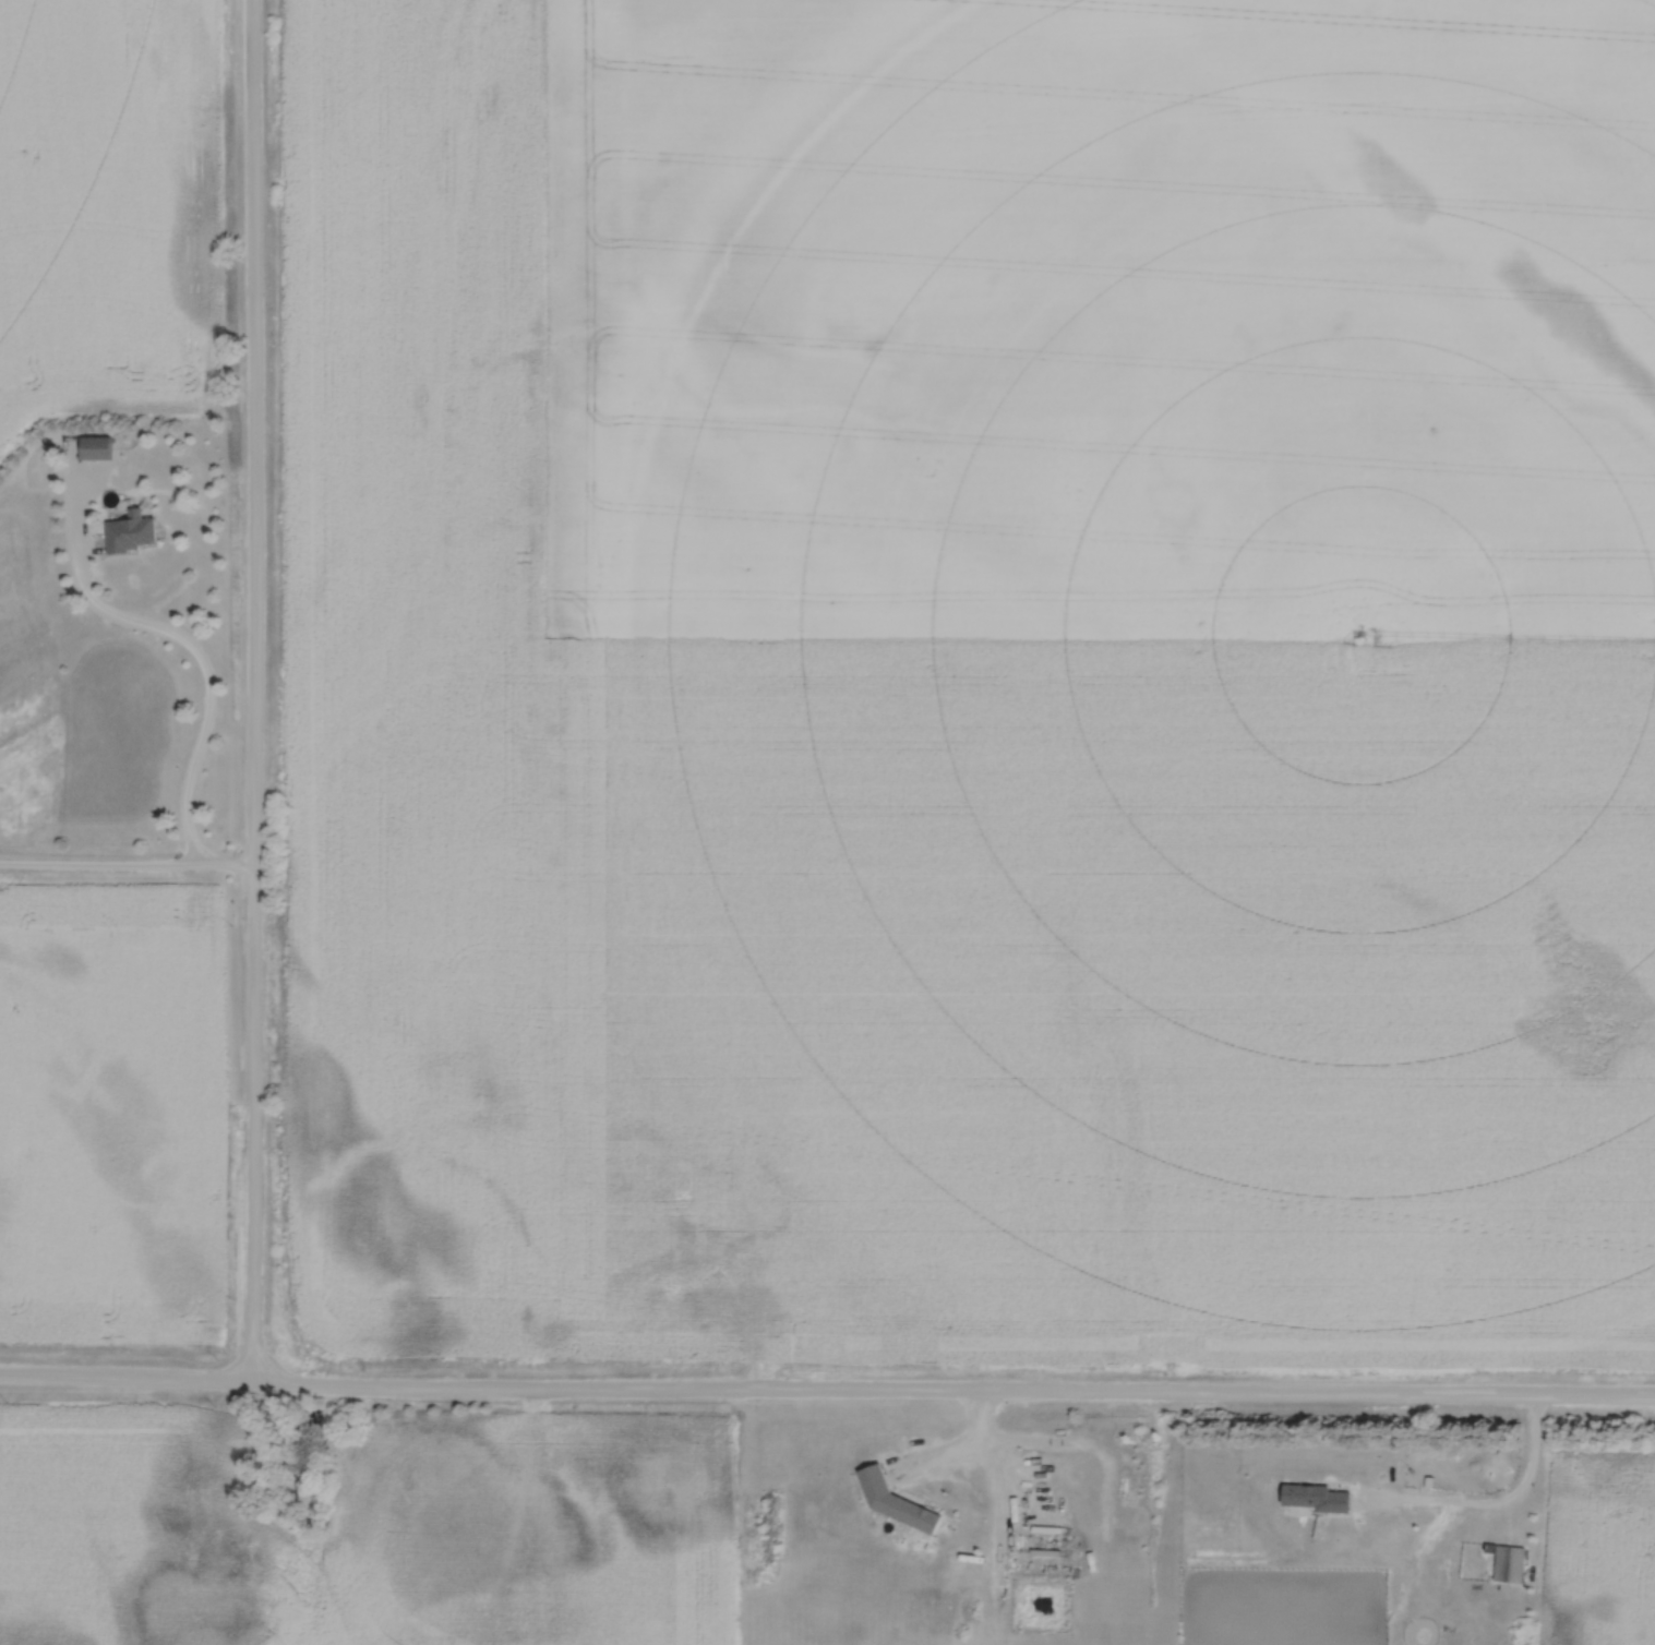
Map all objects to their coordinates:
building: (97, 448)
building: (133, 533)
road: (206, 684)
road: (255, 691)
road: (128, 869)
road: (827, 1389)
road: (966, 1442)
building: (1317, 1499)
road: (1495, 1502)
building: (899, 1503)
building: (1511, 1564)

